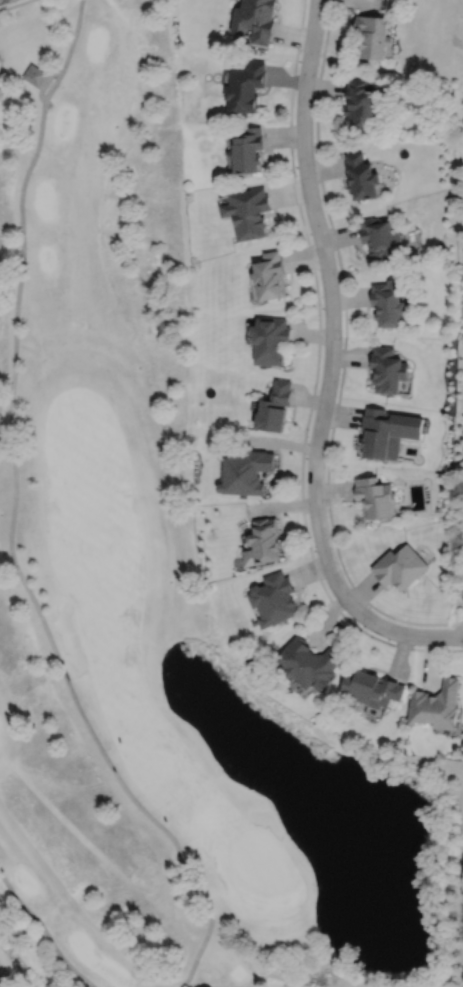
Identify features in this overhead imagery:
road: (13, 4)
building: (256, 18)
building: (373, 35)
street lamp: (300, 52)
building: (36, 75)
building: (244, 86)
building: (360, 101)
building: (247, 149)
street lamp: (296, 175)
building: (361, 175)
building: (247, 211)
building: (381, 239)
building: (270, 275)
building: (388, 302)
street lamp: (321, 304)
building: (270, 340)
road: (344, 347)
road: (330, 364)
building: (388, 369)
road: (316, 375)
building: (275, 407)
building: (376, 433)
street lamp: (308, 436)
building: (245, 472)
building: (376, 498)
road: (11, 519)
building: (263, 543)
street lamp: (315, 554)
building: (399, 567)
park: (157, 595)
building: (274, 600)
street lamp: (367, 629)
building: (310, 664)
building: (371, 688)
building: (436, 704)
road: (43, 931)
building: (1, 980)

